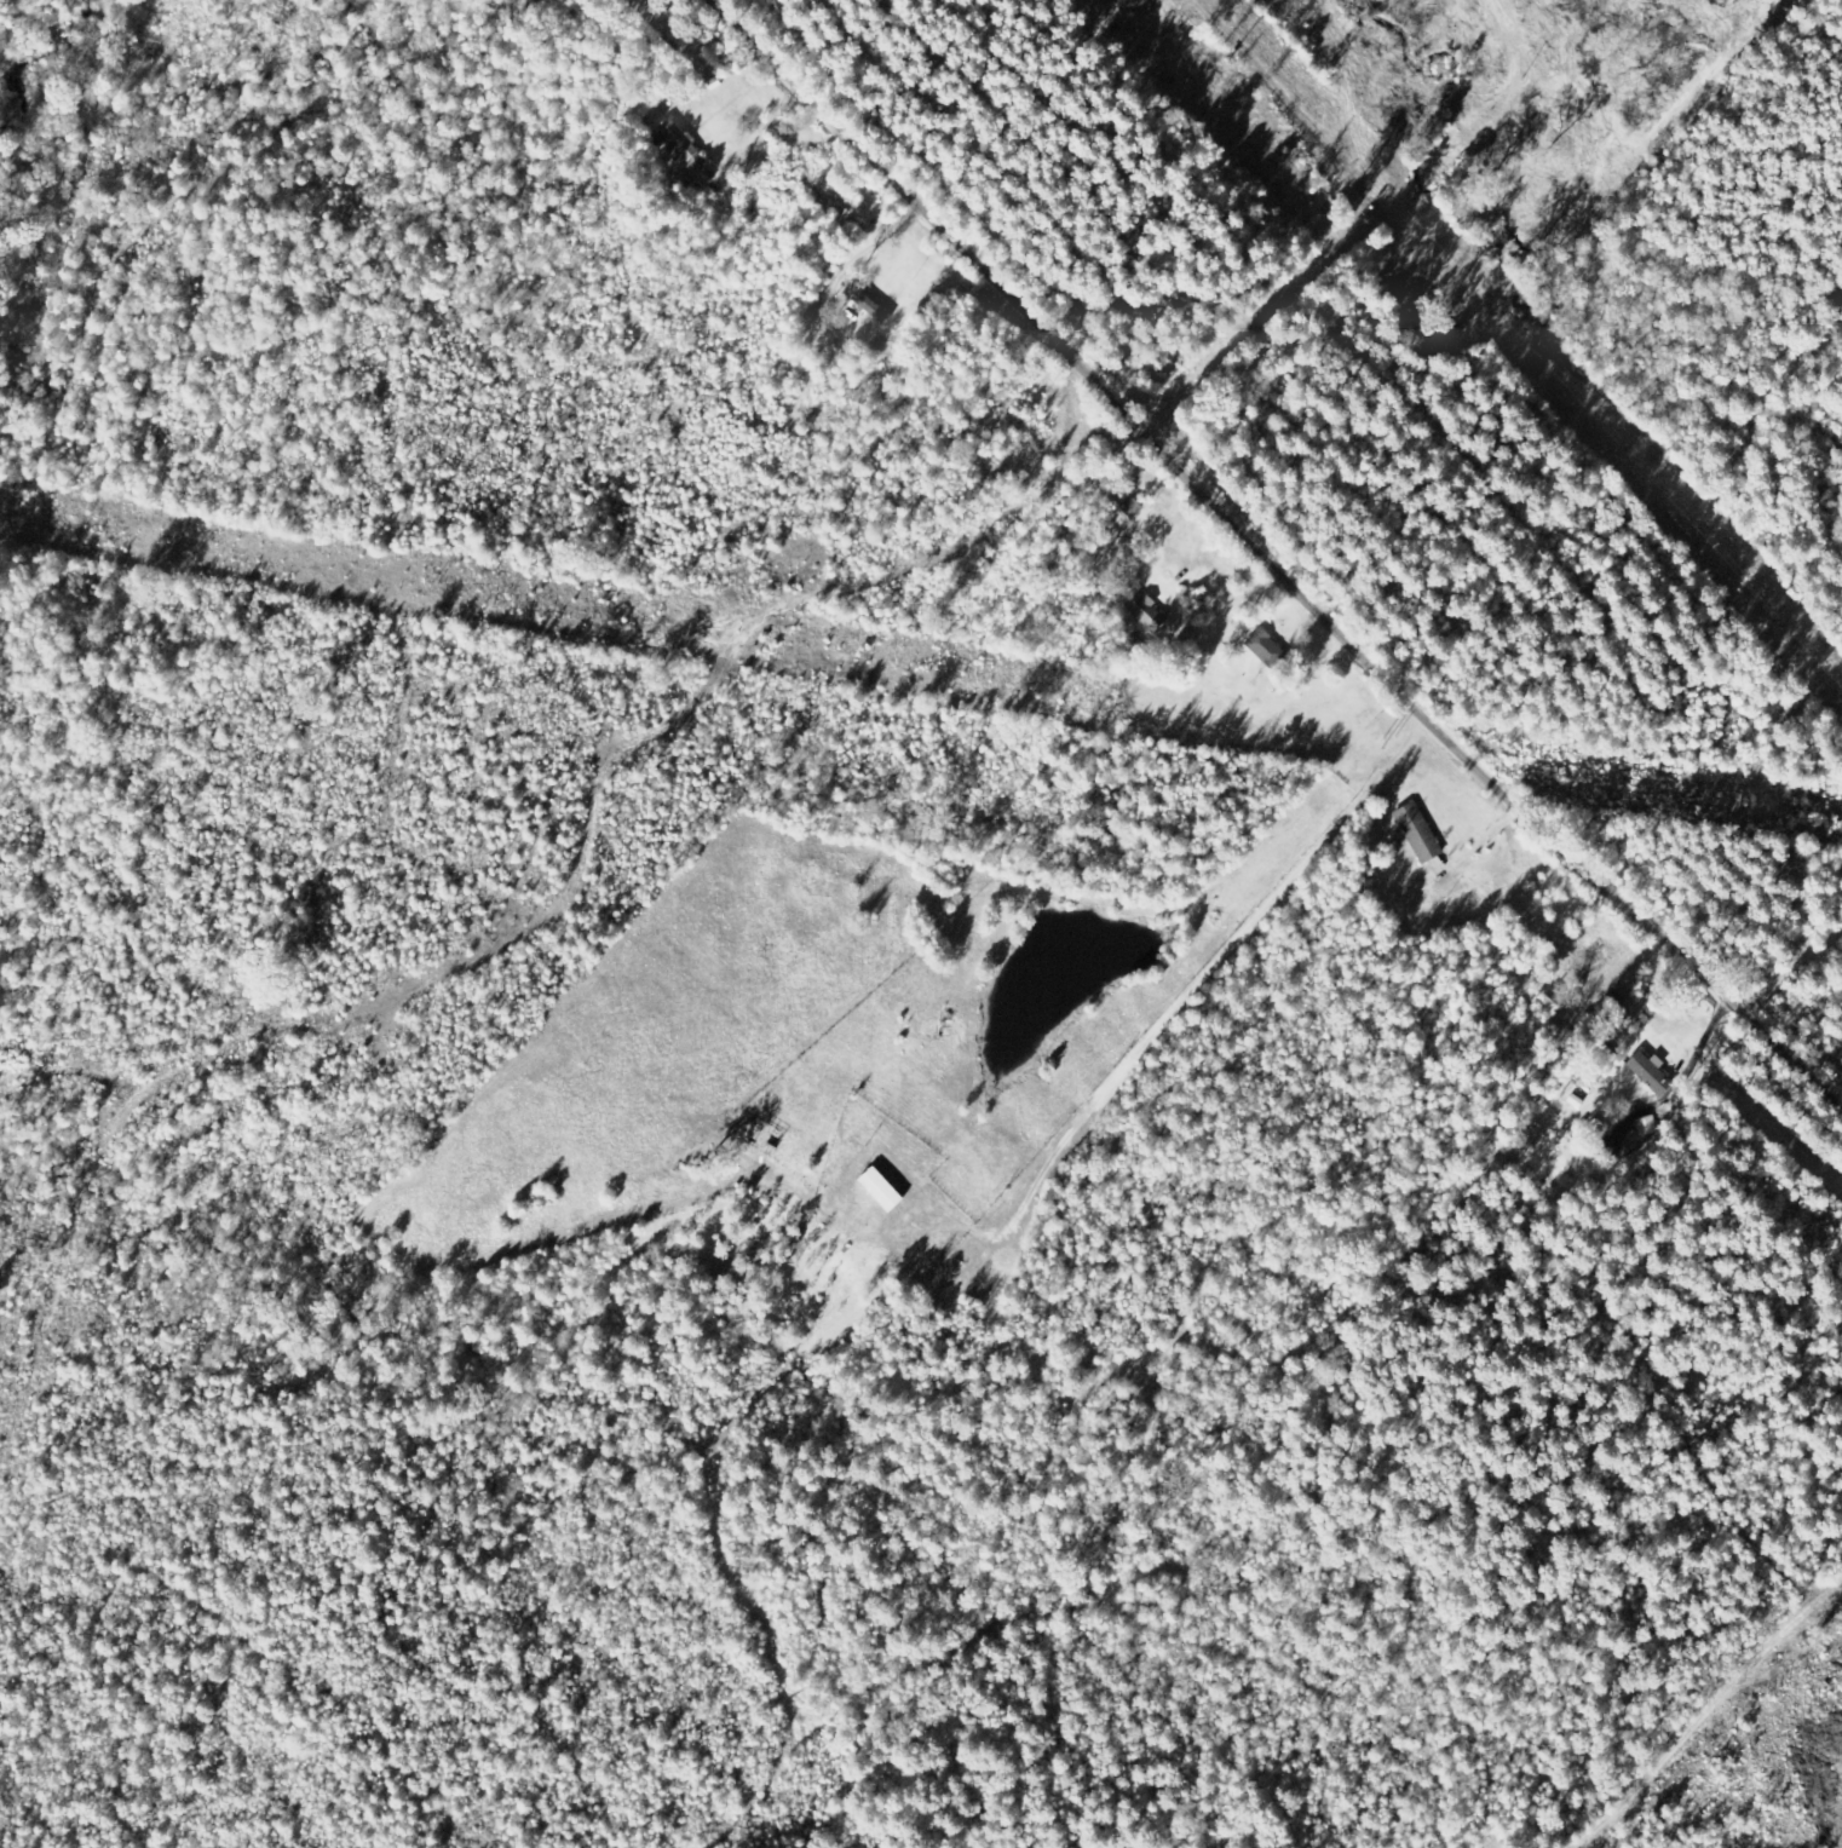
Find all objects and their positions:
building: (685, 148)
power tower: (11, 518)
road: (1277, 559)
power tower: (352, 574)
power tower: (697, 629)
building: (1267, 649)
power tower: (1042, 686)
power tower: (1388, 742)
power tower: (1743, 796)
building: (1421, 831)
building: (1654, 1075)

